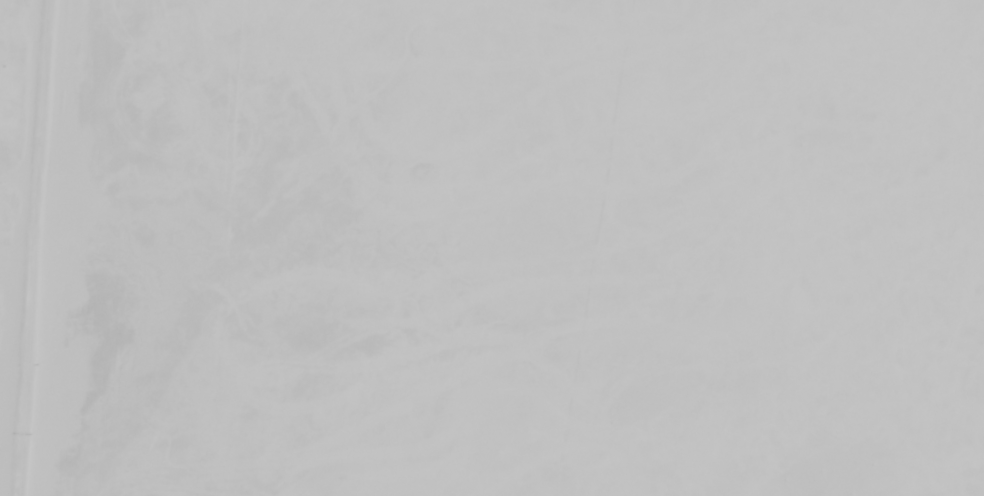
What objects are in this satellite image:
road: (6, 100)
road: (751, 422)

